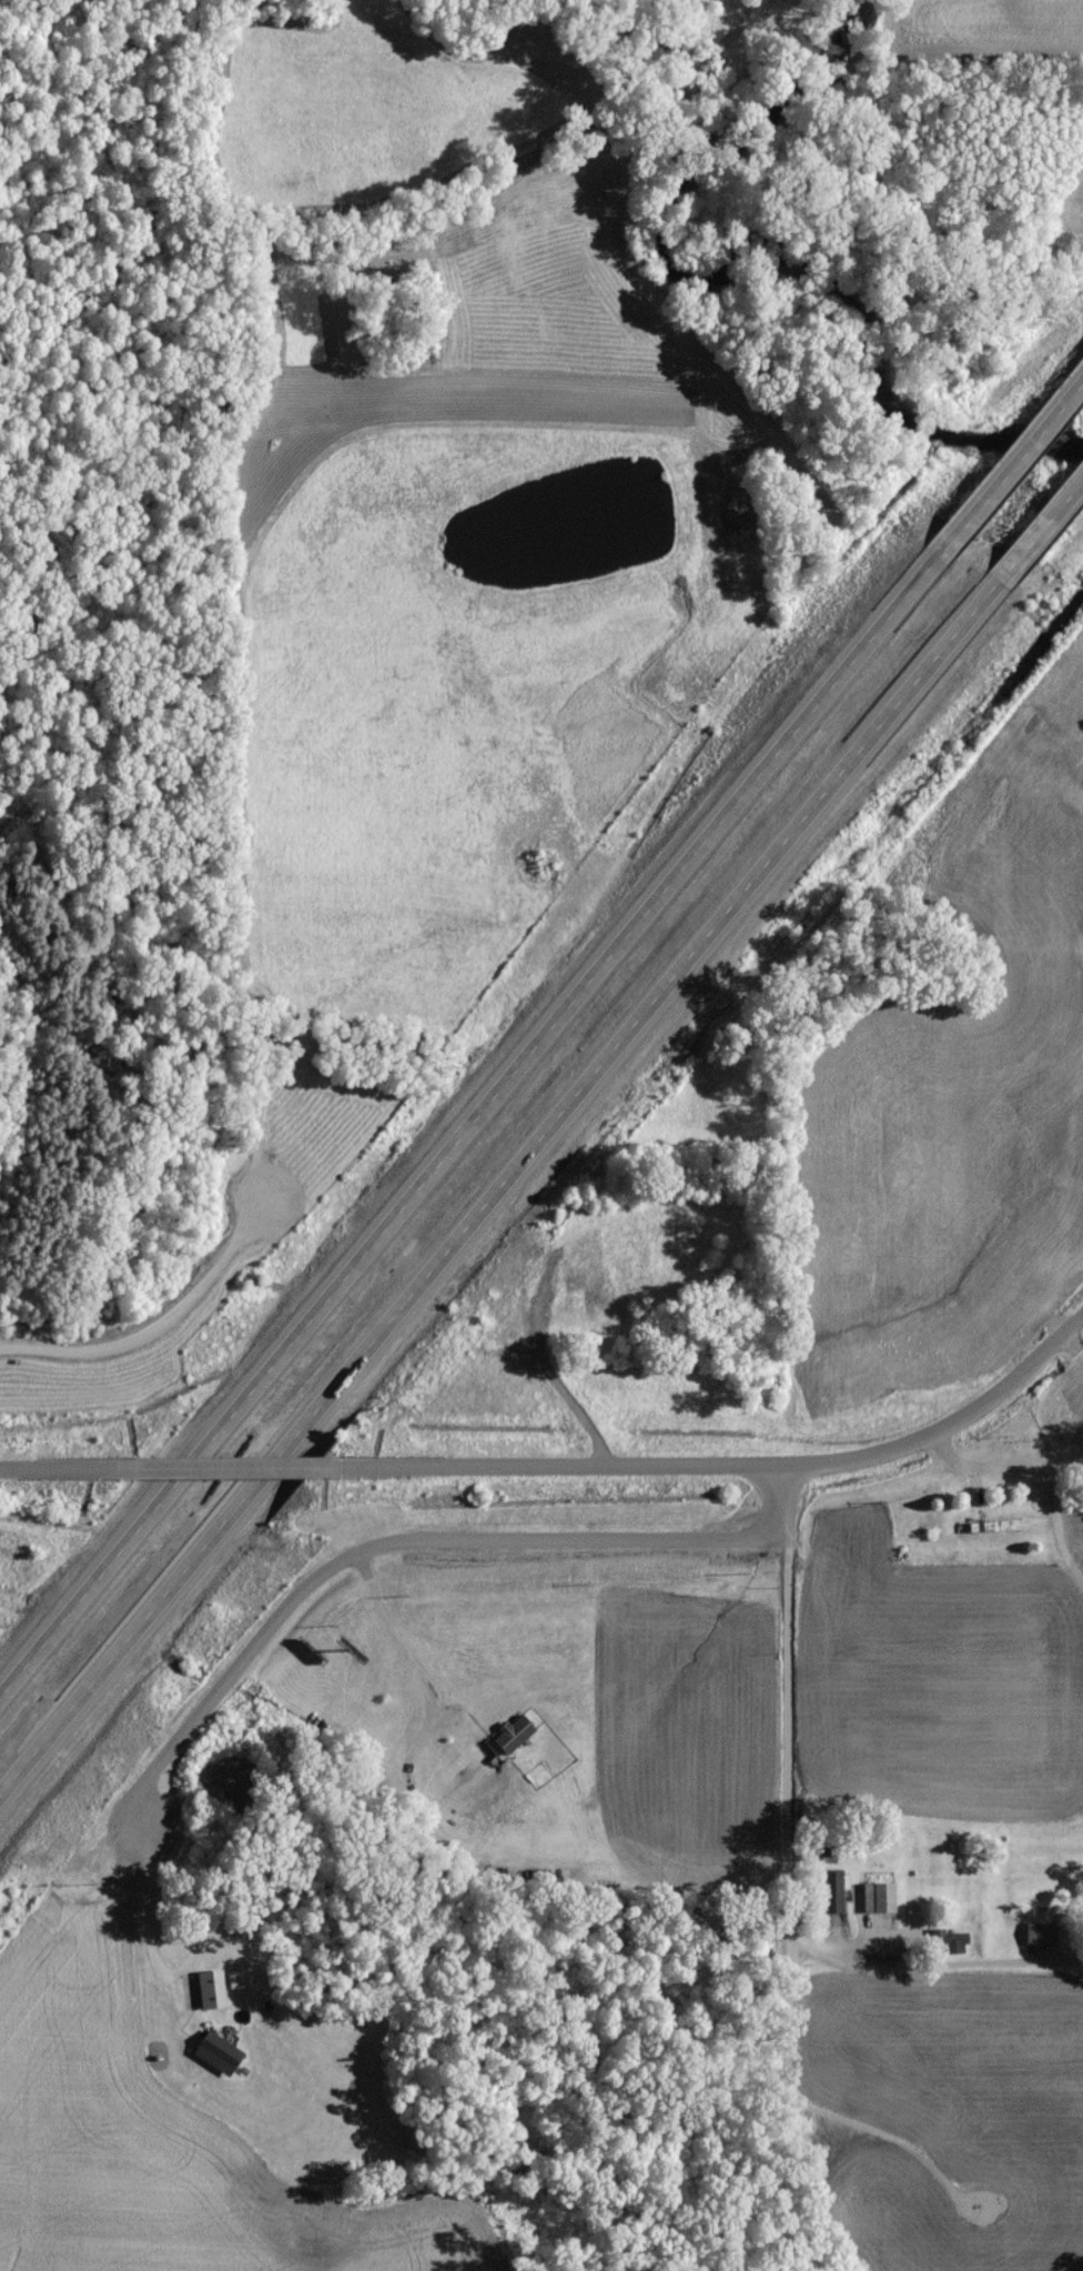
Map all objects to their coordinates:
road: (1030, 446)
road: (1052, 515)
road: (487, 1094)
road: (507, 1169)
building: (627, 1267)
road: (159, 1333)
road: (737, 1468)
road: (225, 1470)
road: (53, 1473)
road: (1038, 1474)
road: (388, 1547)
road: (787, 1709)
building: (513, 1739)
building: (829, 1897)
building: (878, 1902)
road: (144, 1920)
building: (1041, 1938)
building: (948, 1947)
road: (934, 1970)
building: (216, 2059)
building: (821, 2073)
petroleum well: (982, 2209)

